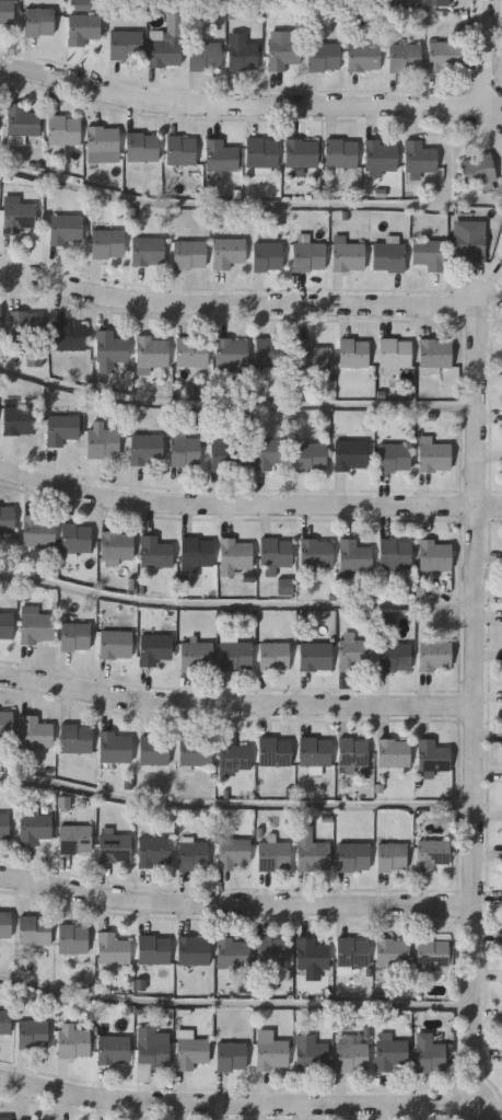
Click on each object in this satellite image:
building: (436, 3)
building: (83, 5)
building: (7, 11)
building: (39, 21)
building: (82, 28)
building: (167, 43)
building: (126, 44)
building: (282, 49)
building: (206, 55)
building: (243, 55)
building: (405, 56)
building: (445, 56)
building: (324, 57)
building: (363, 57)
road: (291, 104)
building: (22, 122)
building: (65, 130)
building: (103, 145)
building: (142, 147)
building: (180, 150)
building: (261, 152)
building: (301, 152)
building: (341, 152)
building: (221, 155)
building: (381, 155)
building: (421, 155)
building: (478, 170)
road: (267, 204)
building: (17, 215)
building: (66, 229)
building: (108, 244)
building: (469, 245)
building: (148, 250)
building: (227, 252)
building: (189, 254)
building: (429, 255)
building: (268, 256)
building: (308, 256)
building: (349, 256)
building: (389, 256)
building: (501, 259)
road: (233, 304)
building: (0, 314)
building: (27, 324)
building: (69, 336)
building: (110, 347)
building: (192, 350)
building: (152, 351)
building: (231, 351)
building: (271, 353)
building: (354, 353)
building: (435, 354)
building: (308, 355)
building: (395, 355)
road: (238, 406)
building: (19, 419)
building: (62, 428)
building: (103, 441)
building: (147, 450)
building: (185, 450)
building: (227, 453)
building: (270, 454)
building: (351, 455)
building: (433, 455)
building: (311, 457)
building: (395, 458)
road: (248, 505)
building: (7, 518)
building: (38, 530)
building: (77, 538)
building: (117, 545)
building: (155, 552)
building: (198, 552)
building: (317, 553)
building: (235, 554)
building: (275, 554)
building: (395, 554)
building: (354, 556)
building: (435, 556)
building: (287, 587)
road: (238, 603)
building: (386, 621)
building: (7, 626)
building: (36, 627)
building: (75, 636)
building: (116, 644)
building: (155, 648)
building: (354, 653)
building: (196, 655)
building: (236, 655)
building: (275, 655)
building: (435, 655)
building: (316, 656)
building: (395, 657)
road: (479, 700)
road: (238, 704)
building: (7, 723)
building: (35, 731)
building: (77, 738)
building: (115, 747)
building: (154, 750)
building: (195, 750)
building: (275, 751)
building: (315, 751)
building: (353, 752)
building: (233, 753)
building: (394, 753)
building: (433, 755)
building: (65, 804)
road: (237, 804)
building: (4, 827)
building: (35, 830)
building: (75, 840)
building: (115, 847)
building: (311, 850)
building: (154, 852)
building: (233, 853)
building: (433, 854)
building: (194, 856)
building: (273, 856)
building: (353, 857)
building: (392, 857)
road: (237, 903)
building: (5, 924)
building: (35, 931)
building: (73, 938)
building: (113, 949)
building: (153, 949)
building: (194, 951)
building: (352, 951)
building: (234, 952)
building: (272, 952)
building: (393, 952)
building: (433, 954)
building: (312, 955)
road: (236, 1003)
building: (5, 1021)
building: (32, 1035)
building: (73, 1043)
building: (114, 1049)
building: (152, 1050)
building: (271, 1051)
building: (431, 1053)
building: (194, 1054)
building: (390, 1054)
building: (231, 1055)
building: (313, 1057)
building: (352, 1057)
road: (237, 1106)
building: (4, 1118)

